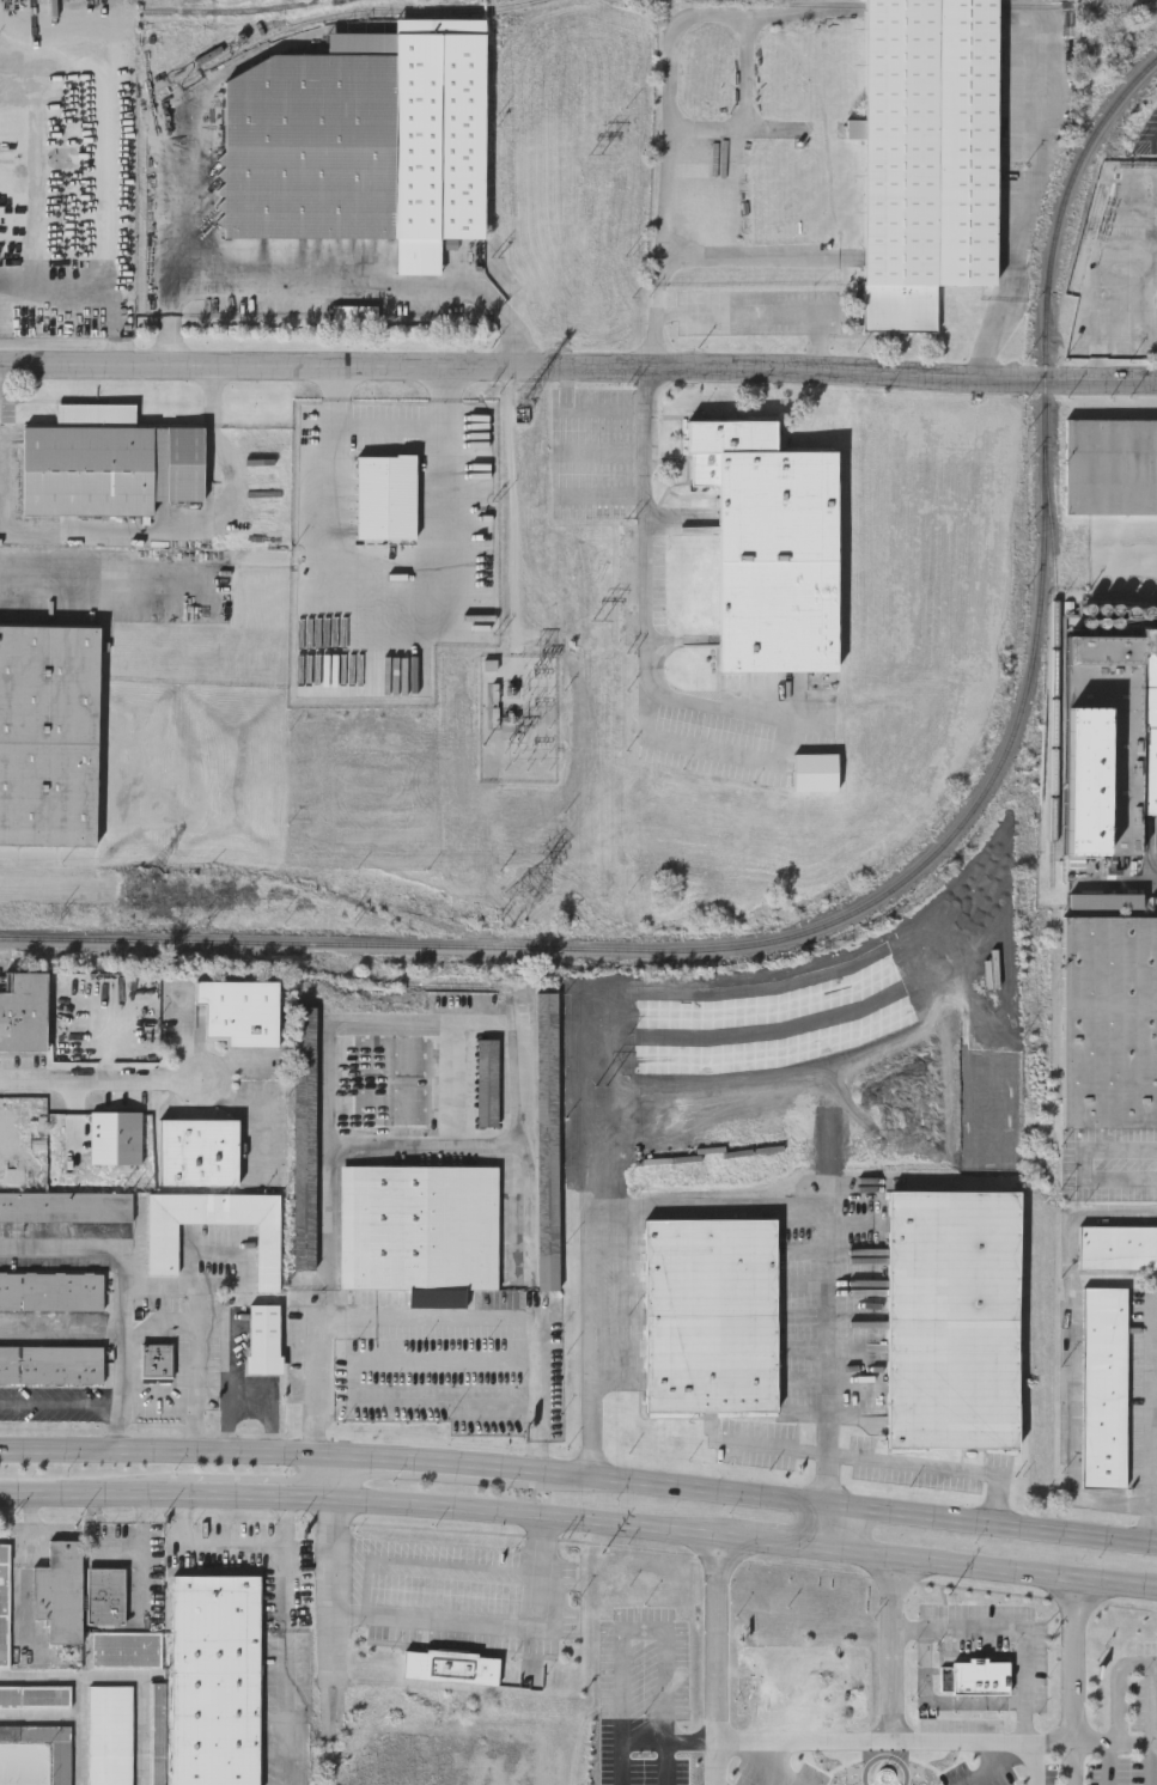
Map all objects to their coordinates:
railway: (821, 2)
railway: (931, 2)
railway: (1039, 4)
railway: (223, 10)
railway: (335, 13)
building: (363, 139)
building: (927, 153)
road: (664, 165)
road: (34, 182)
road: (1024, 211)
railway: (1076, 270)
road: (335, 280)
road: (755, 321)
road: (1119, 324)
road: (578, 371)
power tower: (526, 400)
building: (108, 461)
building: (1110, 463)
road: (184, 524)
building: (771, 543)
road: (92, 561)
road: (644, 611)
road: (388, 616)
power tower: (542, 621)
power tower: (598, 622)
building: (492, 666)
railway: (1055, 670)
power substation: (519, 714)
building: (48, 732)
building: (1110, 739)
road: (1155, 884)
railway: (894, 887)
power tower: (145, 889)
power tower: (530, 896)
building: (23, 1010)
building: (240, 1010)
building: (1110, 1019)
road: (424, 1028)
building: (388, 1078)
building: (487, 1080)
power tower: (601, 1080)
road: (104, 1082)
building: (304, 1092)
building: (547, 1138)
building: (197, 1150)
road: (1085, 1165)
building: (66, 1204)
road: (724, 1204)
building: (420, 1230)
building: (1119, 1245)
building: (162, 1247)
road: (163, 1283)
building: (51, 1289)
building: (711, 1311)
building: (952, 1316)
road: (432, 1320)
building: (263, 1335)
road: (121, 1340)
road: (1071, 1353)
building: (157, 1359)
building: (50, 1361)
road: (358, 1381)
building: (1104, 1384)
road: (243, 1391)
road: (86, 1400)
road: (158, 1400)
road: (1151, 1415)
road: (230, 1421)
road: (158, 1451)
road: (884, 1458)
road: (428, 1461)
road: (324, 1480)
road: (83, 1497)
road: (249, 1501)
road: (848, 1504)
road: (529, 1513)
road: (828, 1523)
road: (775, 1539)
road: (231, 1546)
road: (142, 1549)
power tower: (604, 1553)
road: (427, 1566)
road: (28, 1567)
road: (991, 1567)
building: (60, 1590)
building: (106, 1594)
building: (5, 1602)
road: (330, 1614)
road: (494, 1629)
road: (1015, 1631)
road: (644, 1632)
building: (127, 1647)
road: (893, 1647)
road: (714, 1657)
road: (1073, 1658)
building: (451, 1664)
road: (284, 1665)
road: (123, 1674)
building: (975, 1674)
building: (214, 1679)
road: (1120, 1687)
building: (35, 1694)
road: (80, 1694)
road: (74, 1716)
building: (110, 1734)
road: (894, 1741)
road: (669, 1742)
road: (1114, 1742)
building: (158, 1757)
building: (61, 1762)
road: (1000, 1762)
road: (1035, 1762)
road: (1072, 1762)
road: (756, 1763)
road: (1109, 1763)
road: (1153, 1763)

